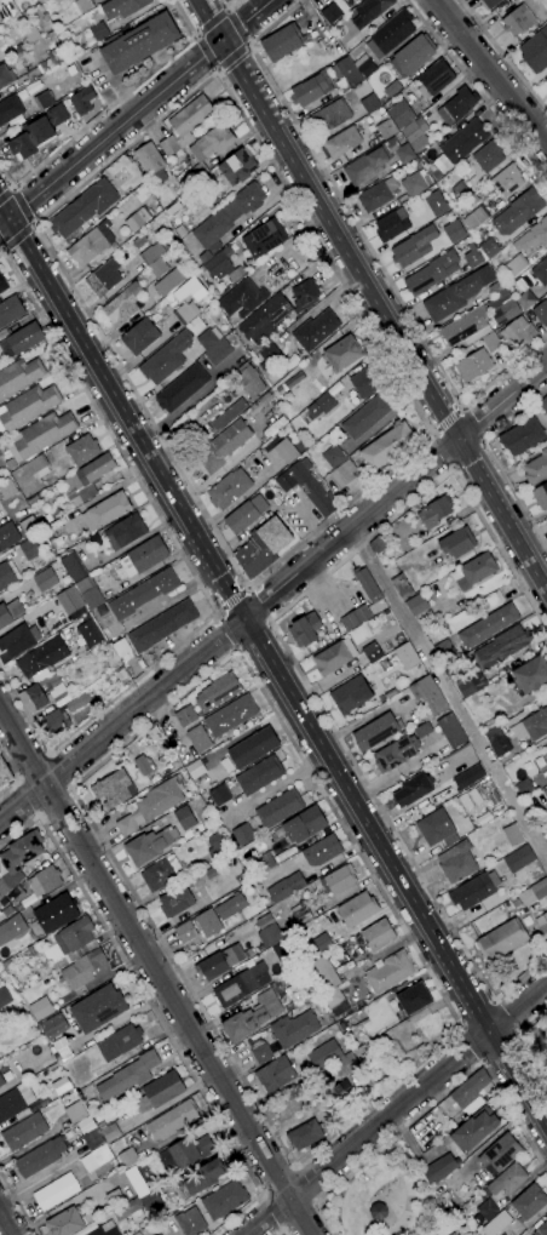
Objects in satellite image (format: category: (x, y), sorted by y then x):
building: (38, 0)
building: (40, 0)
building: (226, 0)
building: (522, 0)
building: (490, 2)
building: (82, 5)
building: (376, 6)
building: (122, 7)
road: (230, 8)
building: (333, 10)
building: (7, 11)
road: (226, 12)
road: (229, 12)
road: (211, 19)
road: (247, 19)
building: (518, 21)
road: (212, 23)
road: (237, 27)
building: (98, 30)
road: (197, 34)
building: (390, 34)
building: (31, 35)
road: (197, 38)
traffic signals: (223, 40)
building: (138, 42)
road: (247, 42)
building: (282, 42)
road: (246, 46)
building: (536, 51)
road: (205, 53)
building: (52, 55)
building: (413, 55)
road: (501, 56)
road: (231, 57)
building: (364, 65)
road: (214, 69)
road: (218, 69)
building: (71, 70)
building: (345, 72)
road: (489, 73)
building: (5, 76)
building: (434, 79)
building: (546, 80)
building: (311, 88)
building: (392, 88)
road: (476, 88)
building: (42, 101)
building: (80, 101)
building: (457, 105)
road: (110, 107)
building: (344, 110)
building: (11, 112)
building: (401, 114)
building: (185, 124)
building: (386, 128)
road: (110, 132)
building: (416, 133)
building: (463, 141)
building: (340, 142)
building: (209, 147)
building: (488, 156)
building: (151, 161)
building: (375, 161)
building: (236, 167)
building: (437, 177)
building: (507, 181)
building: (415, 183)
road: (11, 189)
building: (460, 189)
road: (15, 190)
road: (4, 195)
building: (378, 195)
building: (471, 200)
building: (436, 202)
road: (23, 206)
building: (84, 208)
building: (519, 211)
building: (228, 217)
building: (476, 218)
traffic signals: (8, 219)
building: (136, 221)
road: (31, 223)
building: (392, 224)
road: (31, 227)
building: (454, 230)
building: (479, 233)
building: (532, 235)
road: (17, 236)
building: (264, 238)
building: (139, 241)
building: (91, 242)
road: (365, 242)
building: (414, 246)
road: (1, 248)
building: (489, 248)
road: (5, 250)
building: (151, 253)
building: (203, 257)
building: (473, 257)
building: (219, 264)
building: (516, 264)
building: (157, 267)
building: (541, 271)
building: (237, 273)
building: (431, 273)
building: (103, 278)
building: (506, 279)
building: (169, 281)
building: (2, 284)
building: (496, 287)
building: (456, 293)
building: (171, 298)
building: (242, 298)
building: (525, 299)
building: (123, 304)
building: (507, 305)
building: (10, 310)
building: (277, 311)
road: (385, 311)
building: (541, 311)
building: (185, 313)
building: (197, 324)
building: (466, 327)
building: (315, 330)
building: (518, 332)
building: (139, 336)
building: (0, 338)
building: (25, 338)
building: (208, 338)
building: (491, 342)
building: (218, 351)
building: (270, 353)
building: (342, 353)
building: (166, 358)
building: (473, 365)
building: (19, 376)
building: (249, 381)
building: (365, 382)
building: (182, 388)
building: (266, 398)
building: (543, 405)
building: (28, 406)
building: (317, 407)
building: (229, 414)
building: (365, 417)
building: (40, 435)
building: (522, 436)
building: (221, 446)
building: (387, 446)
building: (82, 448)
building: (286, 451)
building: (332, 458)
road: (494, 461)
building: (11, 464)
building: (38, 465)
building: (536, 469)
building: (342, 473)
building: (86, 480)
building: (306, 487)
building: (7, 488)
building: (229, 488)
building: (540, 496)
building: (33, 501)
building: (105, 511)
building: (436, 511)
building: (246, 514)
building: (48, 518)
building: (29, 526)
building: (123, 531)
building: (7, 536)
building: (456, 543)
building: (61, 544)
building: (378, 544)
building: (261, 547)
building: (29, 549)
building: (144, 556)
building: (73, 566)
road: (190, 566)
building: (474, 571)
building: (7, 574)
building: (45, 579)
building: (368, 584)
road: (249, 585)
building: (402, 585)
road: (272, 590)
building: (88, 593)
building: (143, 594)
building: (70, 602)
building: (416, 604)
building: (10, 612)
building: (355, 617)
building: (161, 625)
building: (488, 625)
building: (305, 629)
building: (88, 633)
building: (17, 641)
road: (240, 646)
building: (501, 647)
building: (443, 650)
building: (372, 652)
building: (404, 656)
road: (290, 658)
building: (332, 658)
building: (42, 659)
road: (271, 667)
building: (530, 675)
building: (471, 685)
road: (448, 691)
building: (215, 692)
building: (30, 693)
building: (351, 694)
building: (428, 697)
building: (79, 702)
building: (184, 715)
building: (230, 715)
building: (56, 722)
building: (536, 724)
building: (376, 731)
building: (451, 731)
building: (494, 737)
building: (198, 739)
building: (546, 743)
building: (546, 745)
building: (253, 748)
building: (399, 749)
building: (143, 765)
building: (5, 773)
road: (16, 773)
building: (259, 776)
building: (467, 777)
building: (524, 787)
building: (113, 789)
building: (414, 789)
building: (219, 795)
building: (493, 797)
building: (152, 804)
building: (278, 808)
road: (39, 814)
building: (185, 818)
building: (303, 824)
building: (437, 828)
building: (242, 834)
building: (512, 834)
building: (150, 845)
building: (217, 846)
building: (278, 847)
building: (321, 851)
building: (21, 852)
building: (519, 858)
building: (265, 862)
building: (457, 862)
building: (161, 873)
building: (209, 873)
building: (339, 880)
building: (8, 885)
building: (38, 885)
building: (286, 887)
building: (472, 891)
building: (534, 892)
building: (175, 900)
building: (514, 902)
building: (18, 907)
building: (230, 907)
building: (357, 909)
building: (7, 910)
building: (56, 914)
building: (299, 915)
building: (526, 920)
building: (207, 922)
building: (542, 922)
building: (11, 928)
building: (267, 931)
building: (185, 932)
building: (298, 933)
building: (379, 936)
building: (75, 939)
building: (501, 939)
building: (322, 943)
building: (33, 949)
building: (284, 956)
building: (220, 961)
building: (5, 964)
building: (84, 968)
building: (390, 972)
road: (155, 973)
building: (322, 974)
building: (11, 979)
building: (241, 983)
building: (11, 989)
building: (4, 996)
building: (413, 999)
building: (335, 1001)
building: (288, 1007)
building: (40, 1008)
building: (98, 1008)
road: (152, 1010)
building: (252, 1017)
building: (52, 1025)
road: (459, 1025)
building: (294, 1029)
building: (120, 1042)
road: (522, 1046)
building: (63, 1048)
building: (260, 1051)
building: (324, 1056)
road: (483, 1062)
building: (546, 1062)
building: (347, 1064)
building: (275, 1074)
building: (128, 1075)
building: (1, 1081)
building: (62, 1086)
building: (340, 1087)
building: (159, 1092)
building: (470, 1092)
building: (16, 1100)
road: (433, 1104)
road: (396, 1109)
building: (75, 1113)
building: (172, 1121)
building: (474, 1128)
building: (24, 1131)
building: (109, 1131)
building: (305, 1134)
building: (92, 1138)
building: (190, 1150)
building: (102, 1154)
building: (499, 1154)
building: (127, 1157)
building: (36, 1159)
building: (439, 1168)
building: (203, 1177)
building: (507, 1179)
building: (56, 1191)
park: (384, 1197)
building: (115, 1199)
building: (150, 1200)
building: (224, 1200)
building: (529, 1202)
road: (17, 1203)
building: (486, 1210)
building: (128, 1211)
building: (378, 1211)
building: (190, 1222)
building: (64, 1223)
building: (496, 1223)
road: (5, 1224)
building: (99, 1229)
building: (541, 1229)
road: (282, 1230)
road: (282, 1231)
building: (453, 1233)

